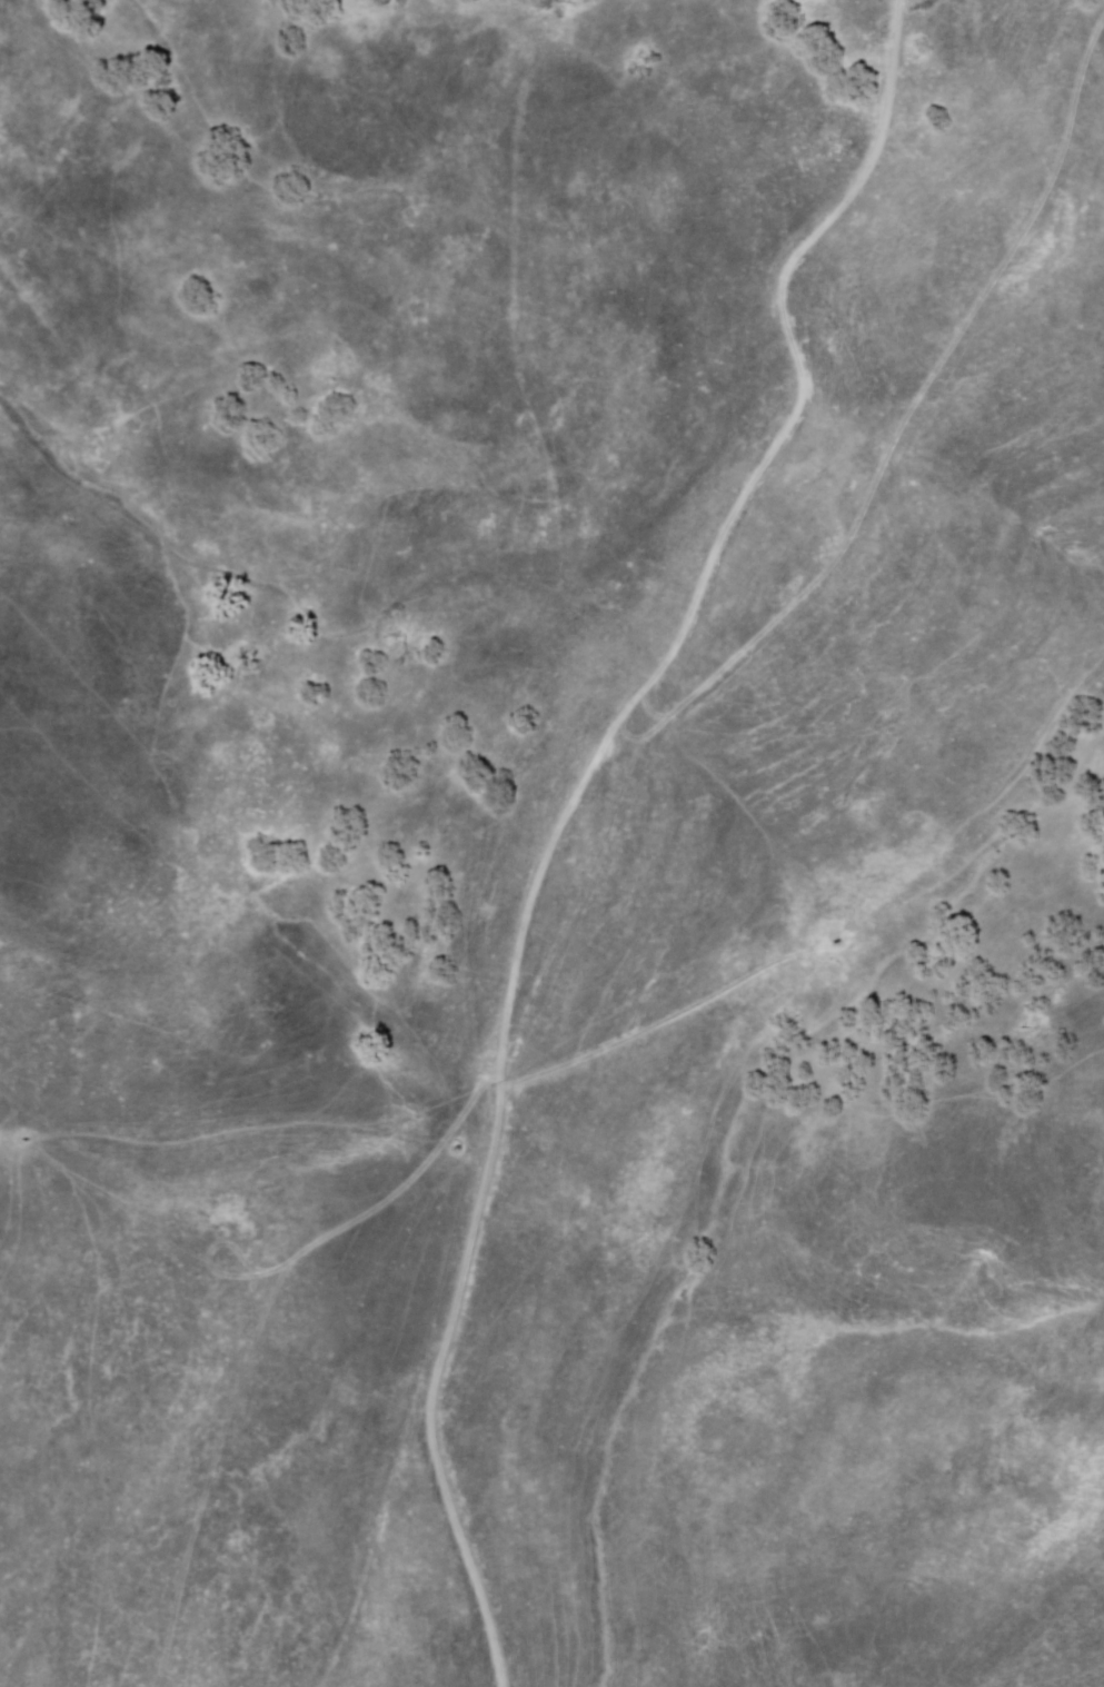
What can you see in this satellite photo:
road: (567, 806)

